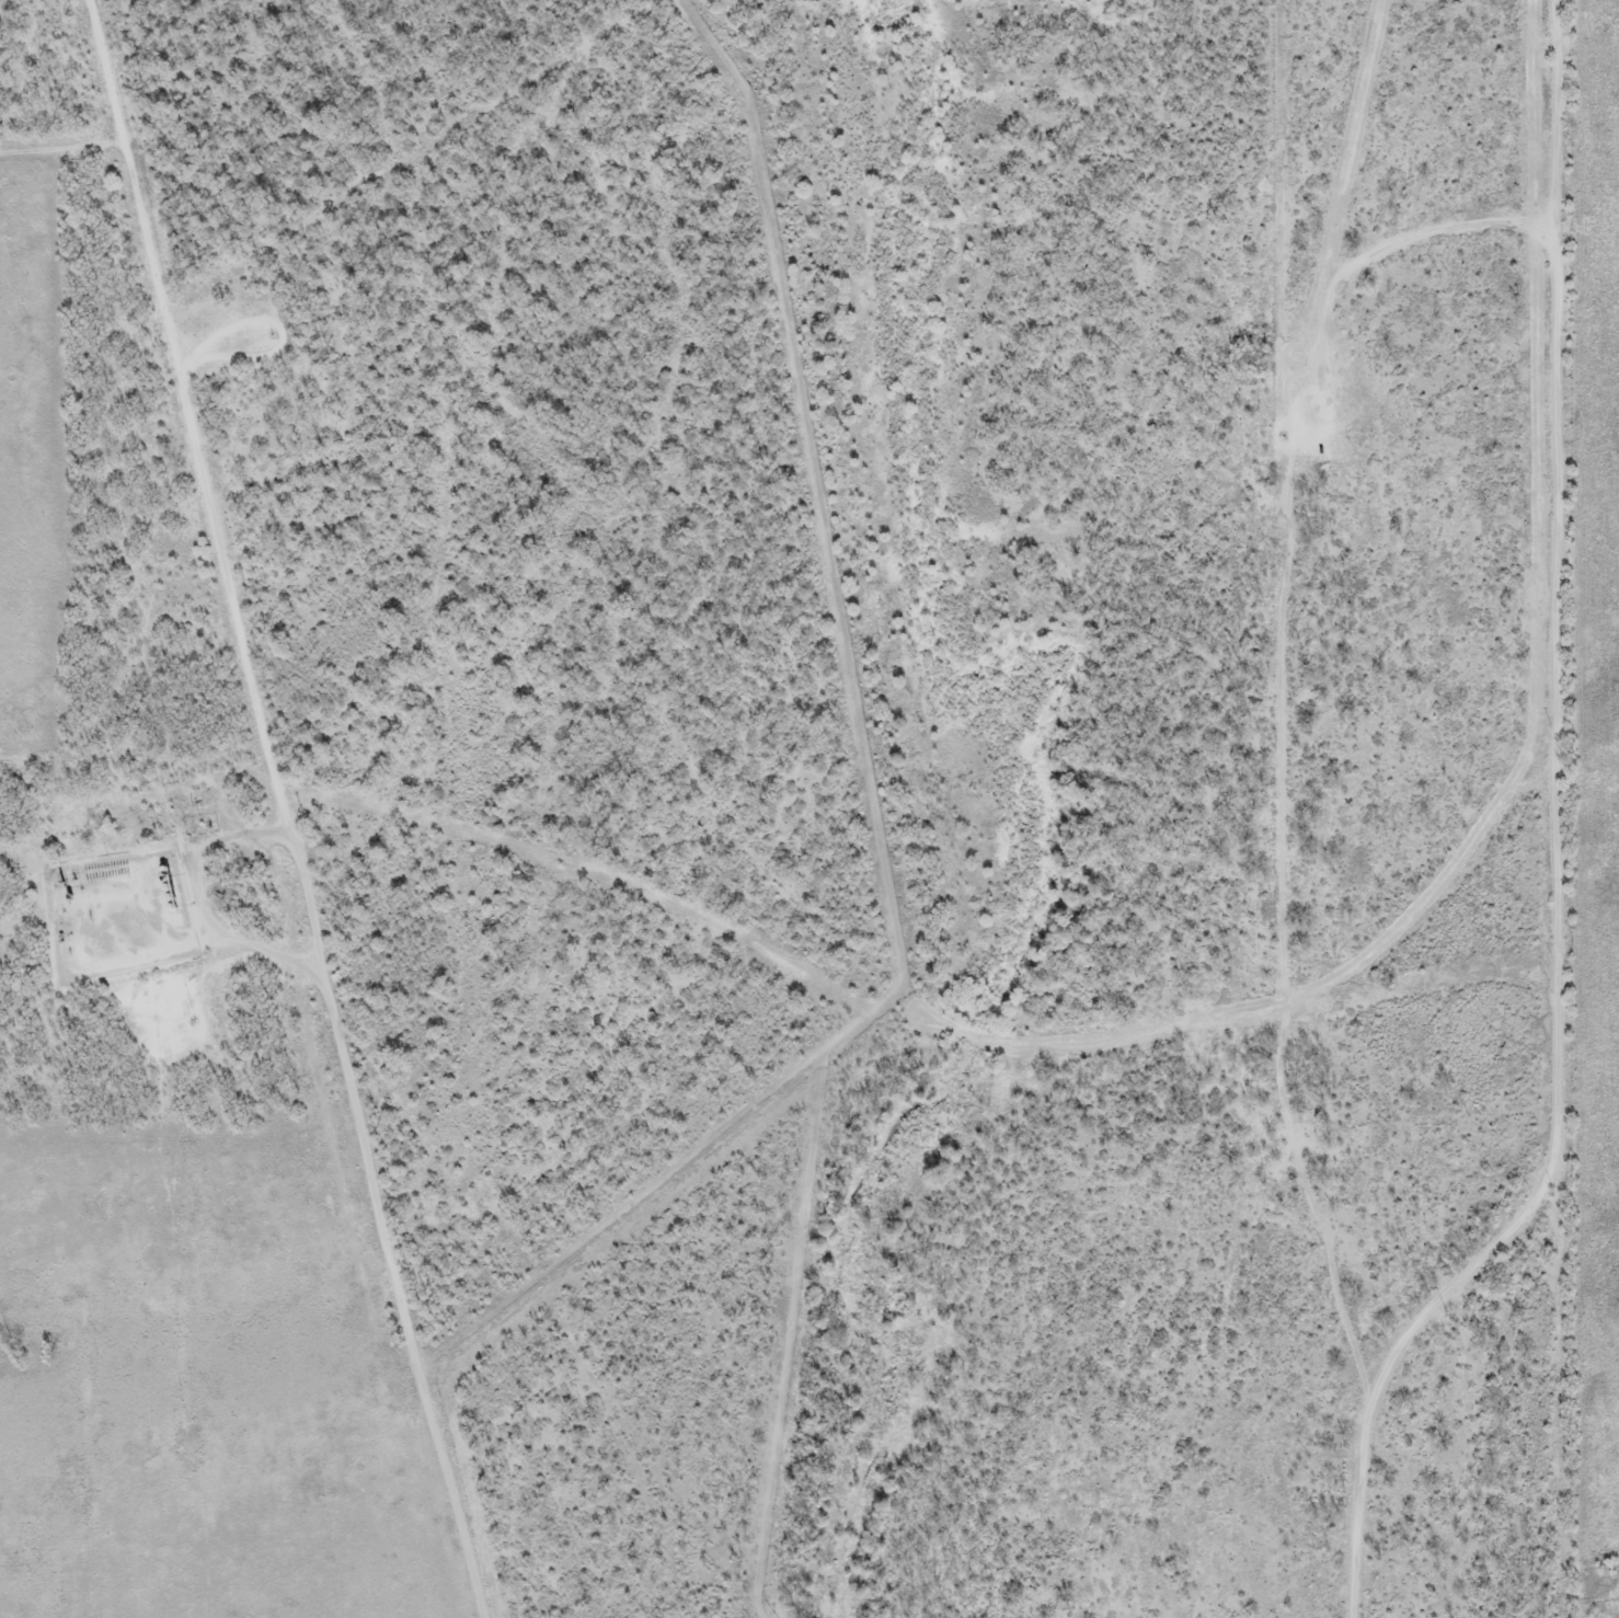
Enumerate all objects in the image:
road: (285, 812)
road: (1551, 955)

